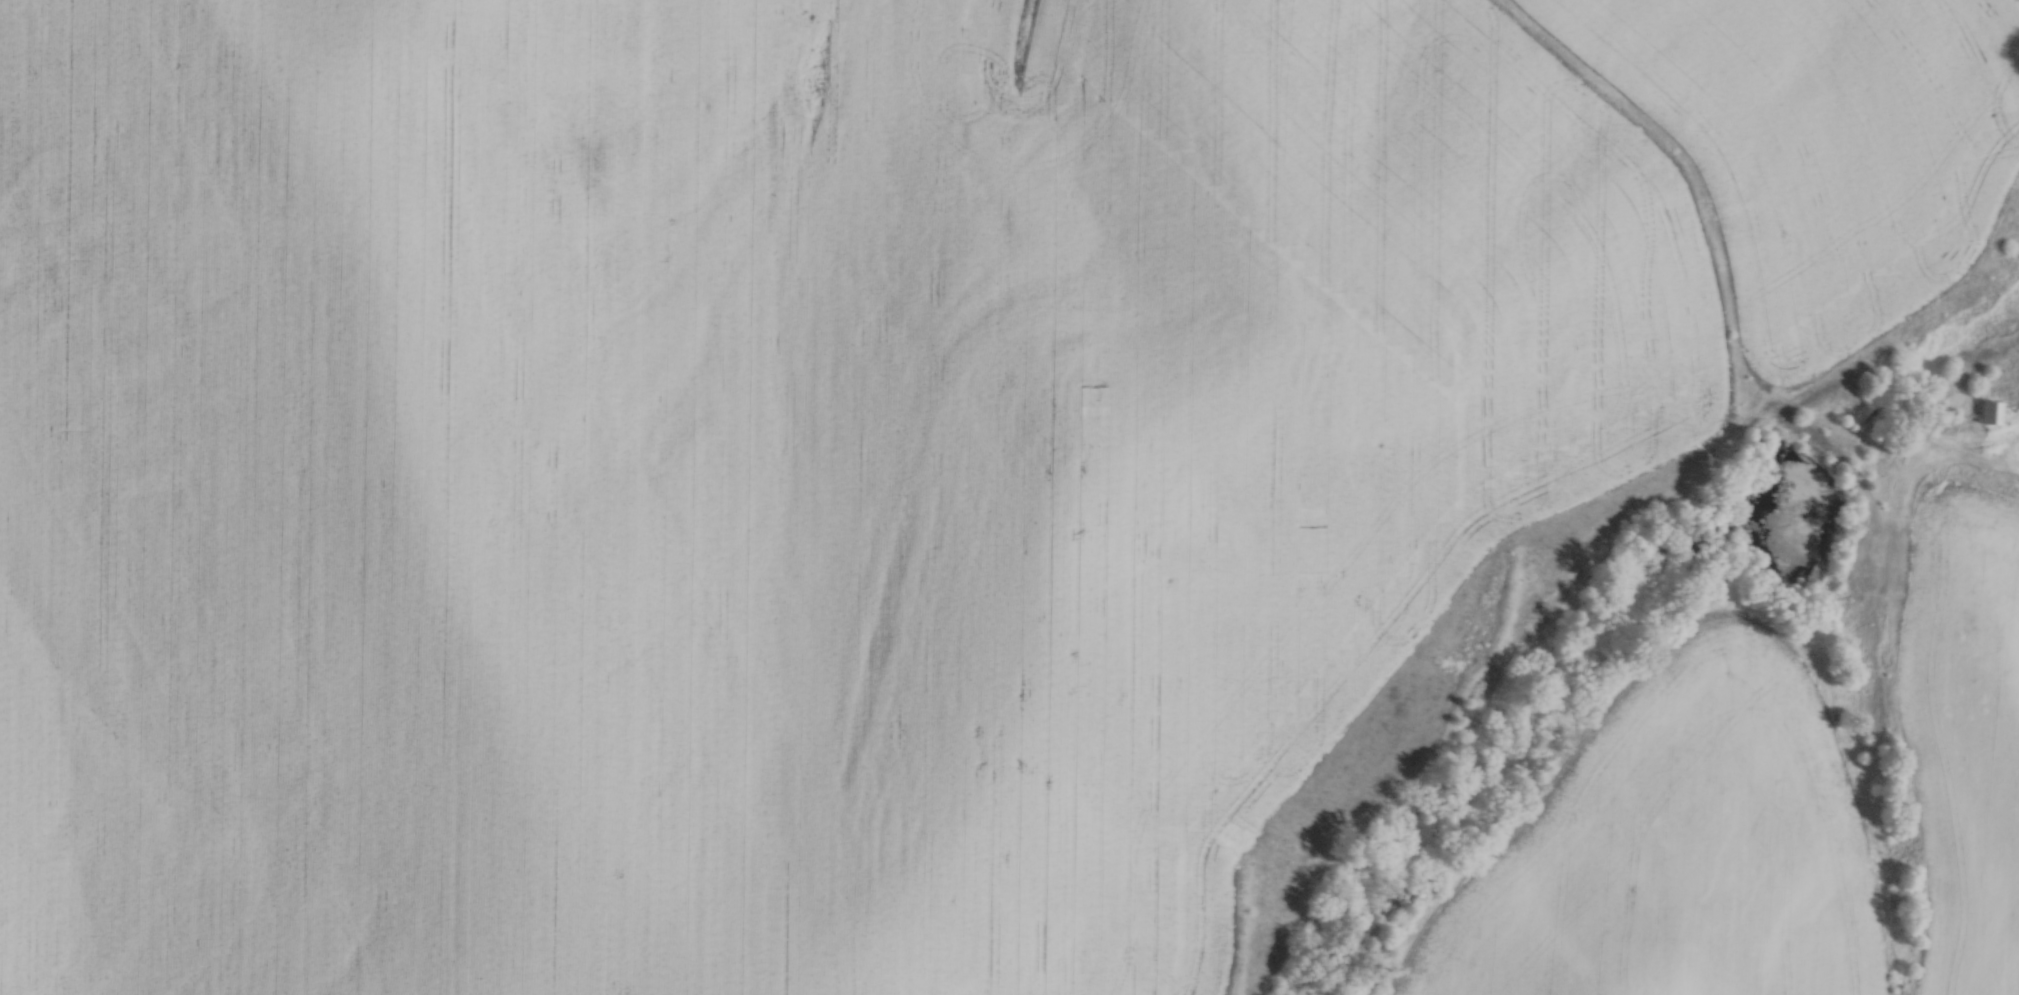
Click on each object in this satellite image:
building: (1990, 411)

